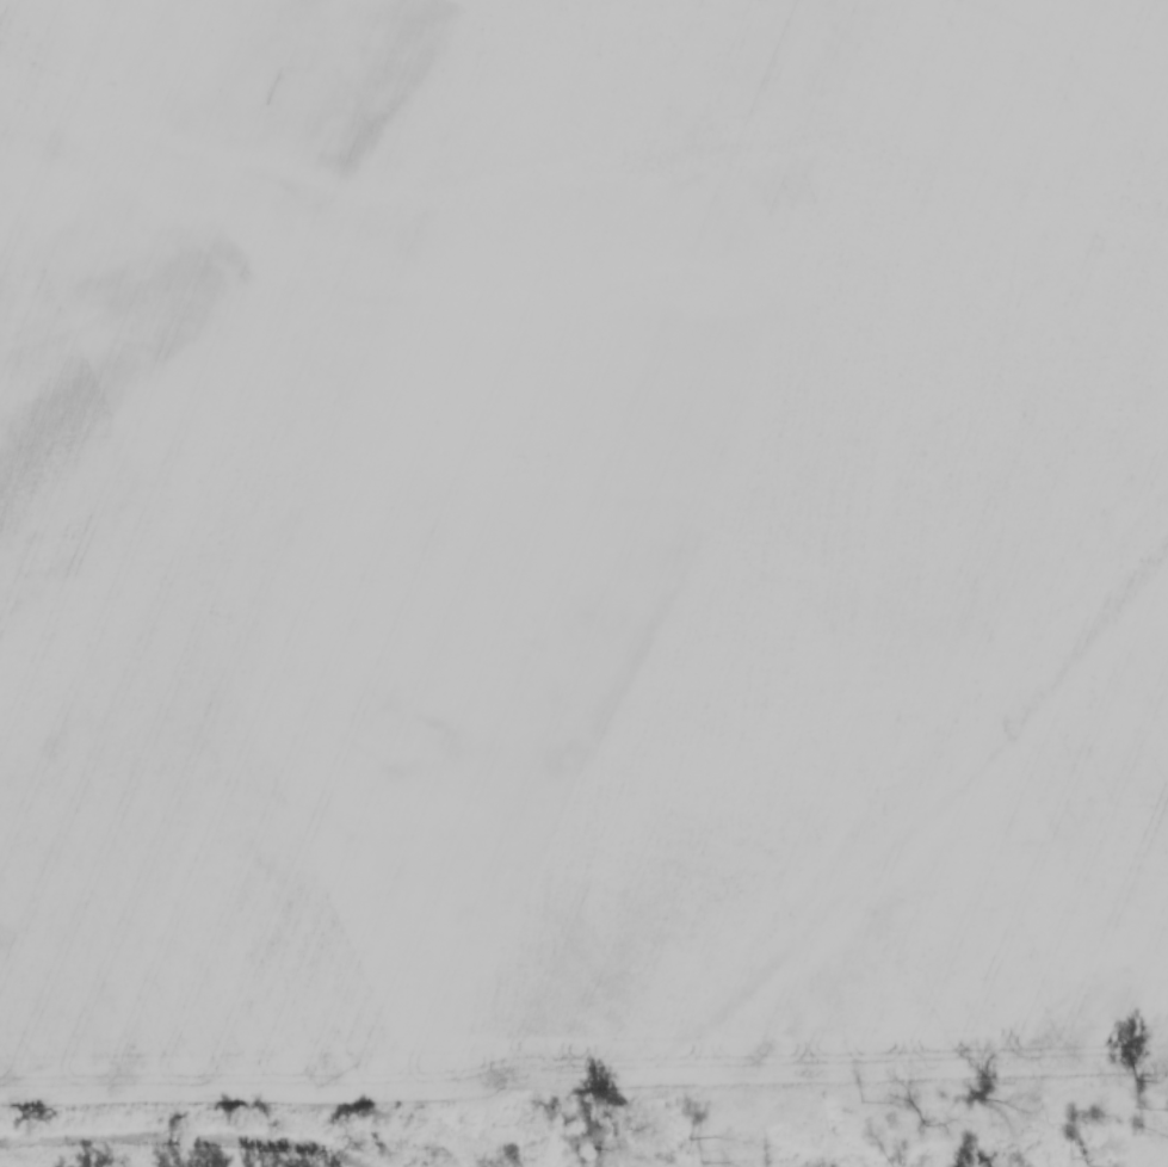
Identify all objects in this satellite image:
park: (591, 1147)

